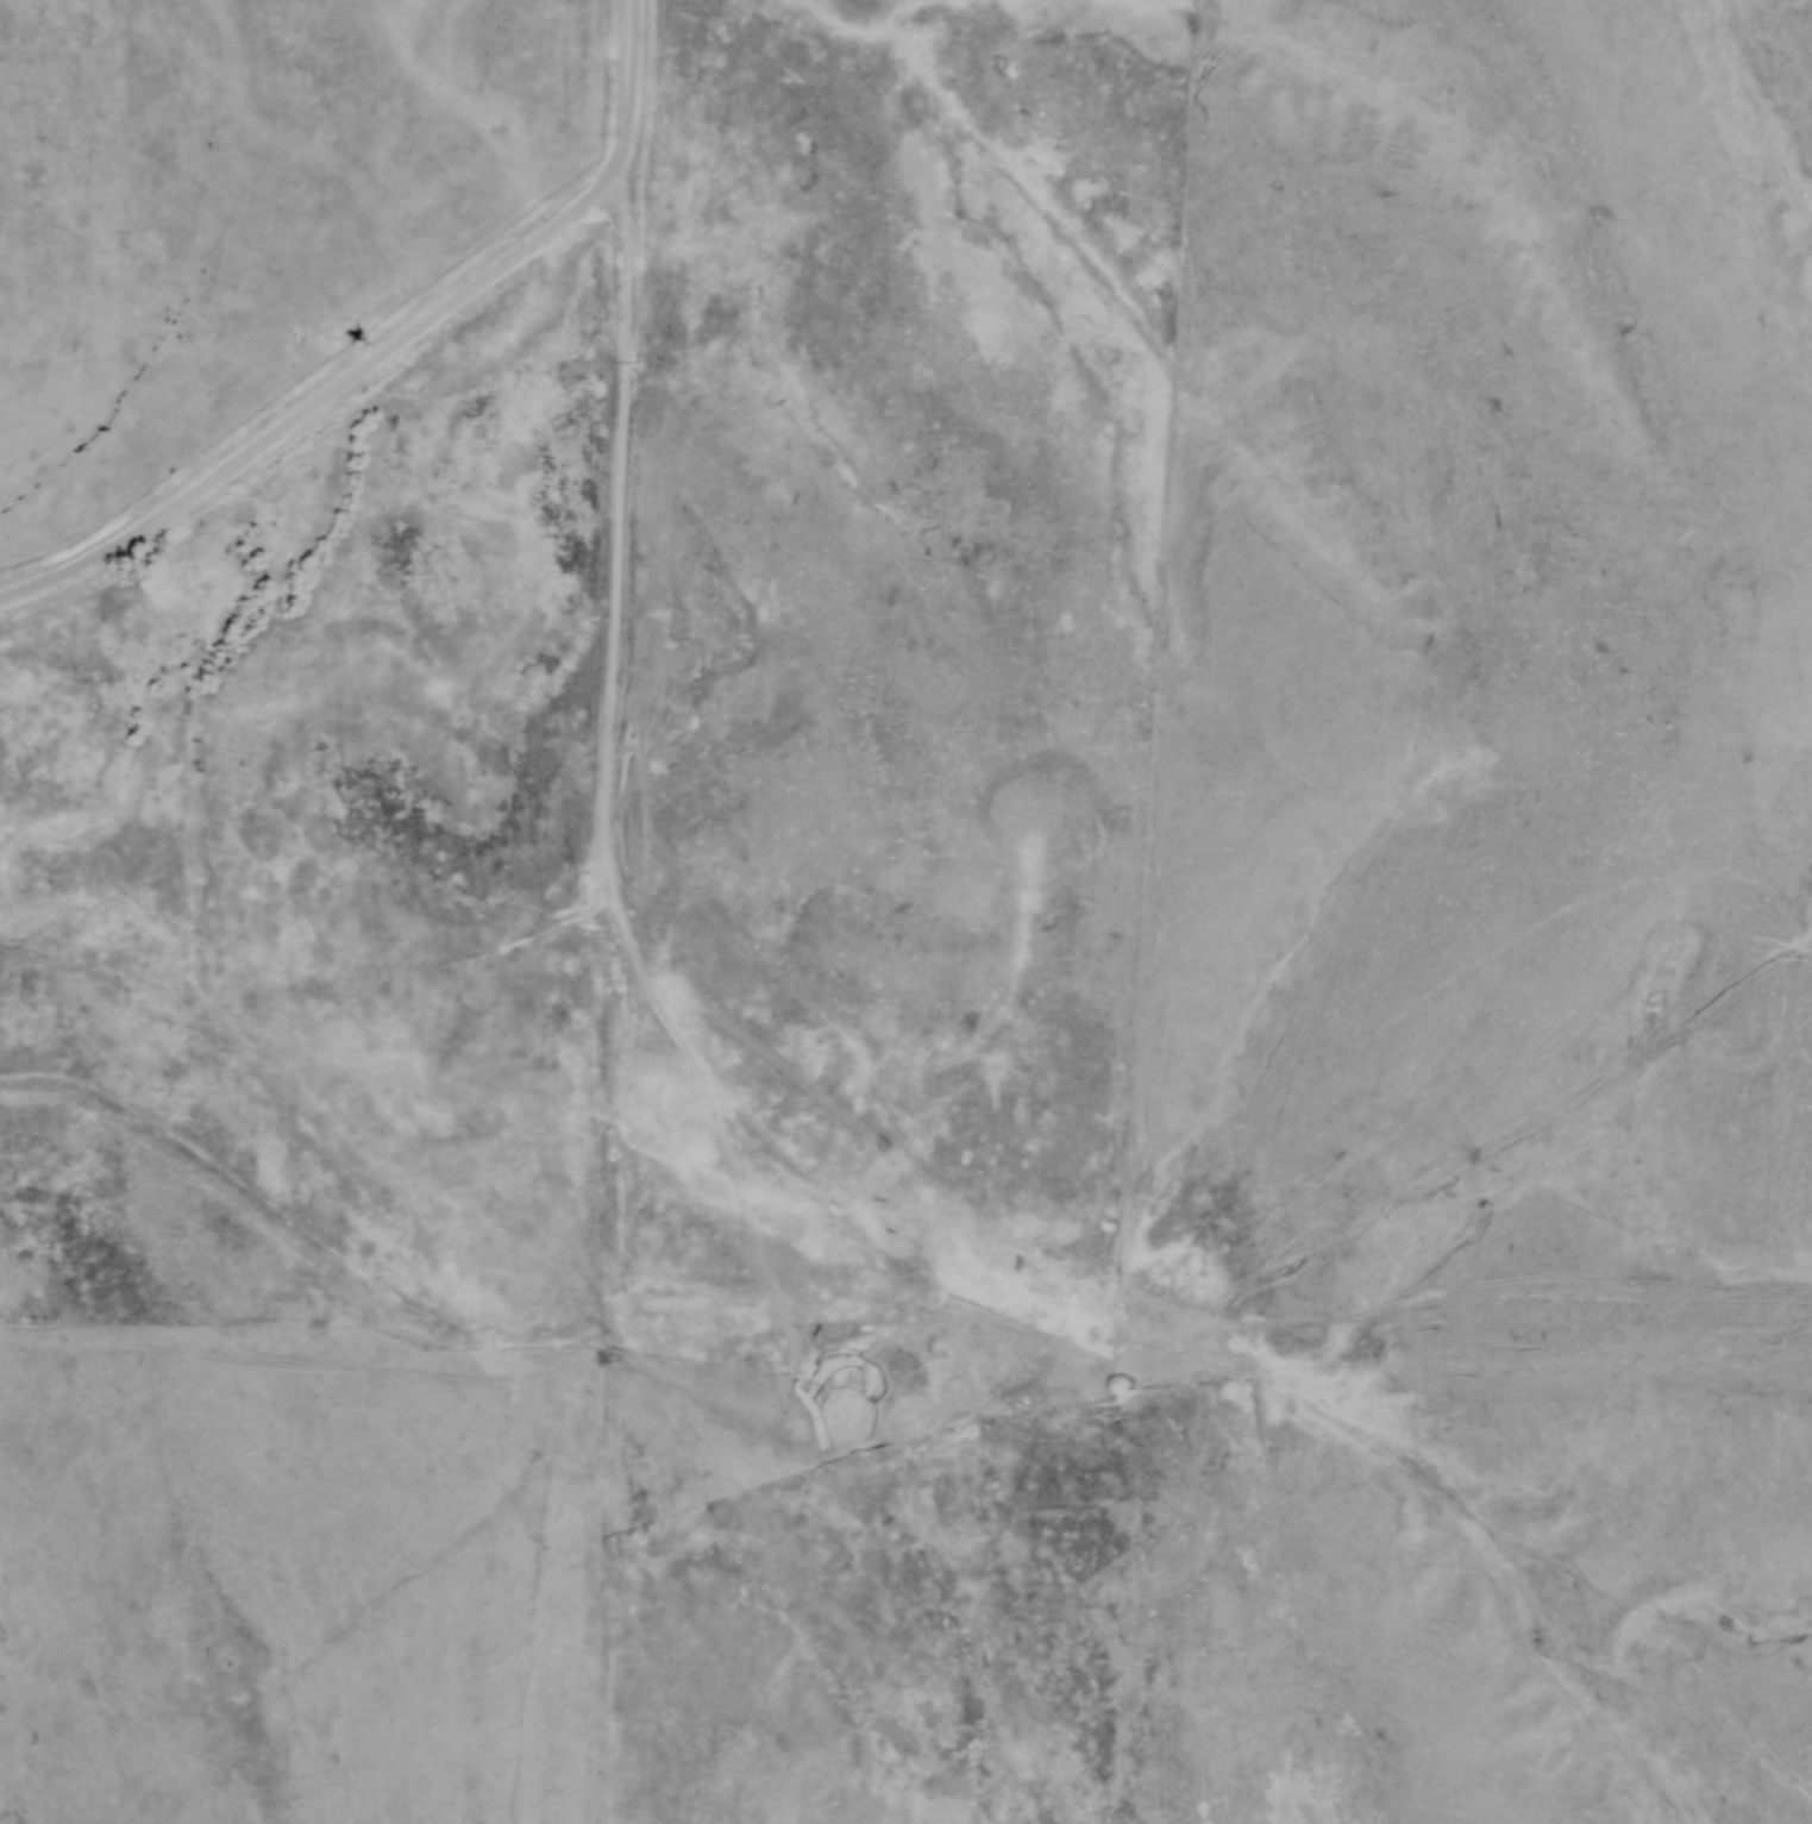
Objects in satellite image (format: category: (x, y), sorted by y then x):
road: (387, 347)

